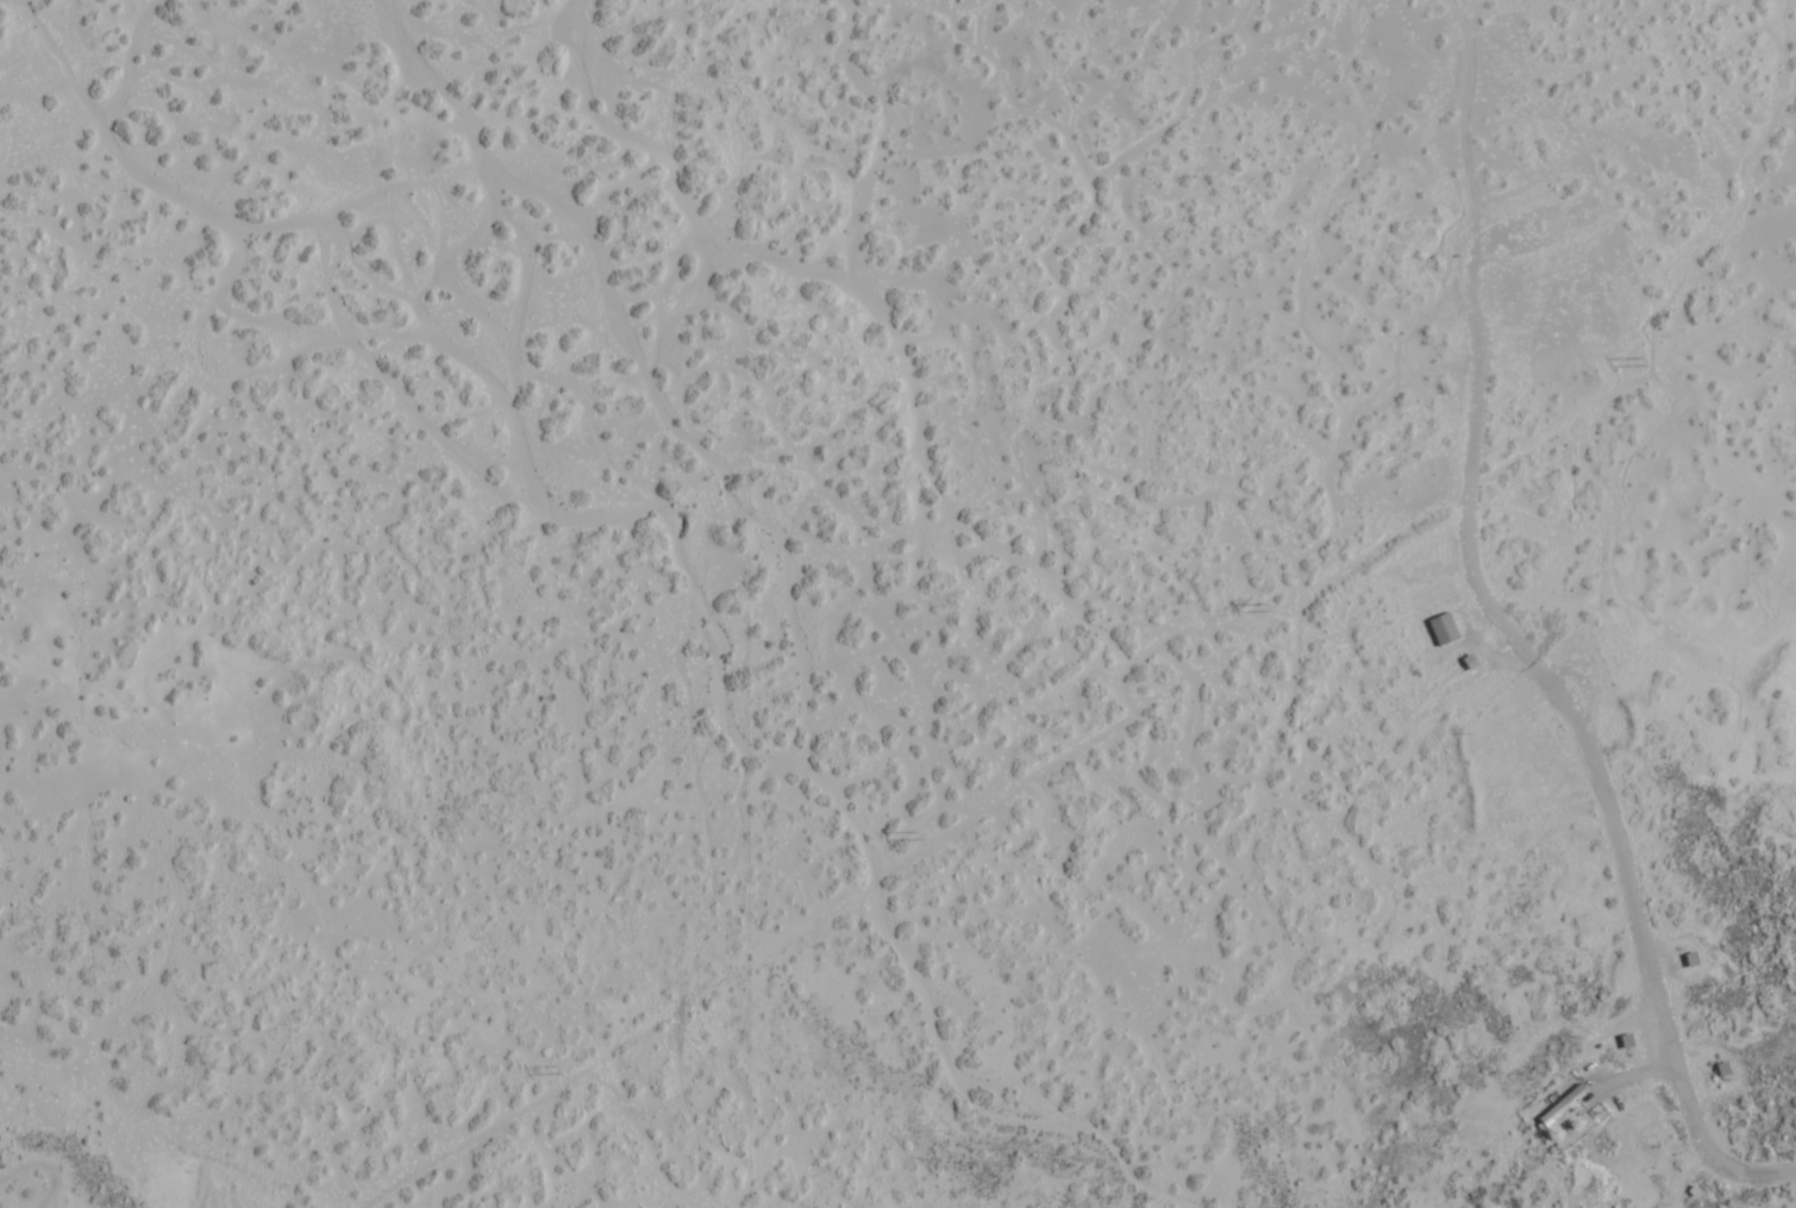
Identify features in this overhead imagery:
building: (1446, 628)

